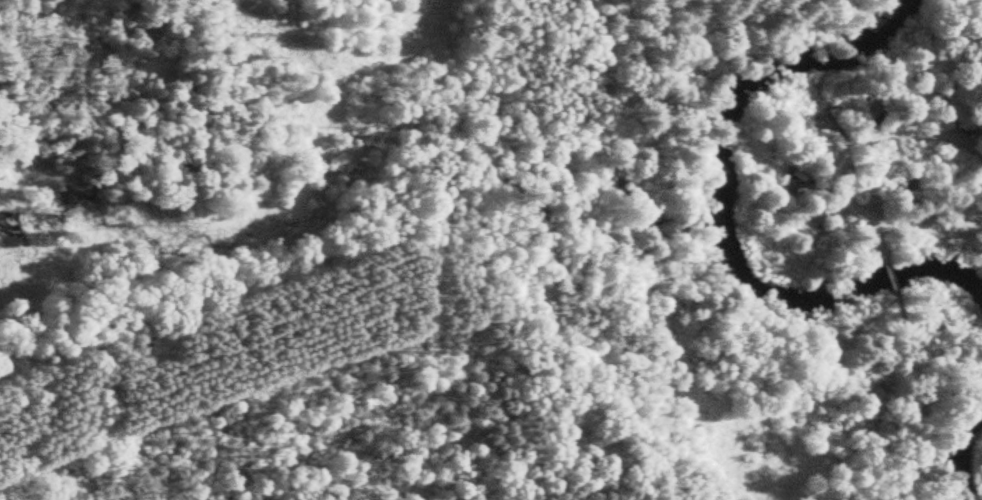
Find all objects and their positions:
road: (908, 56)
park: (868, 168)
road: (844, 172)
river: (722, 210)
road: (882, 236)
road: (660, 257)
road: (893, 281)
river: (965, 456)

